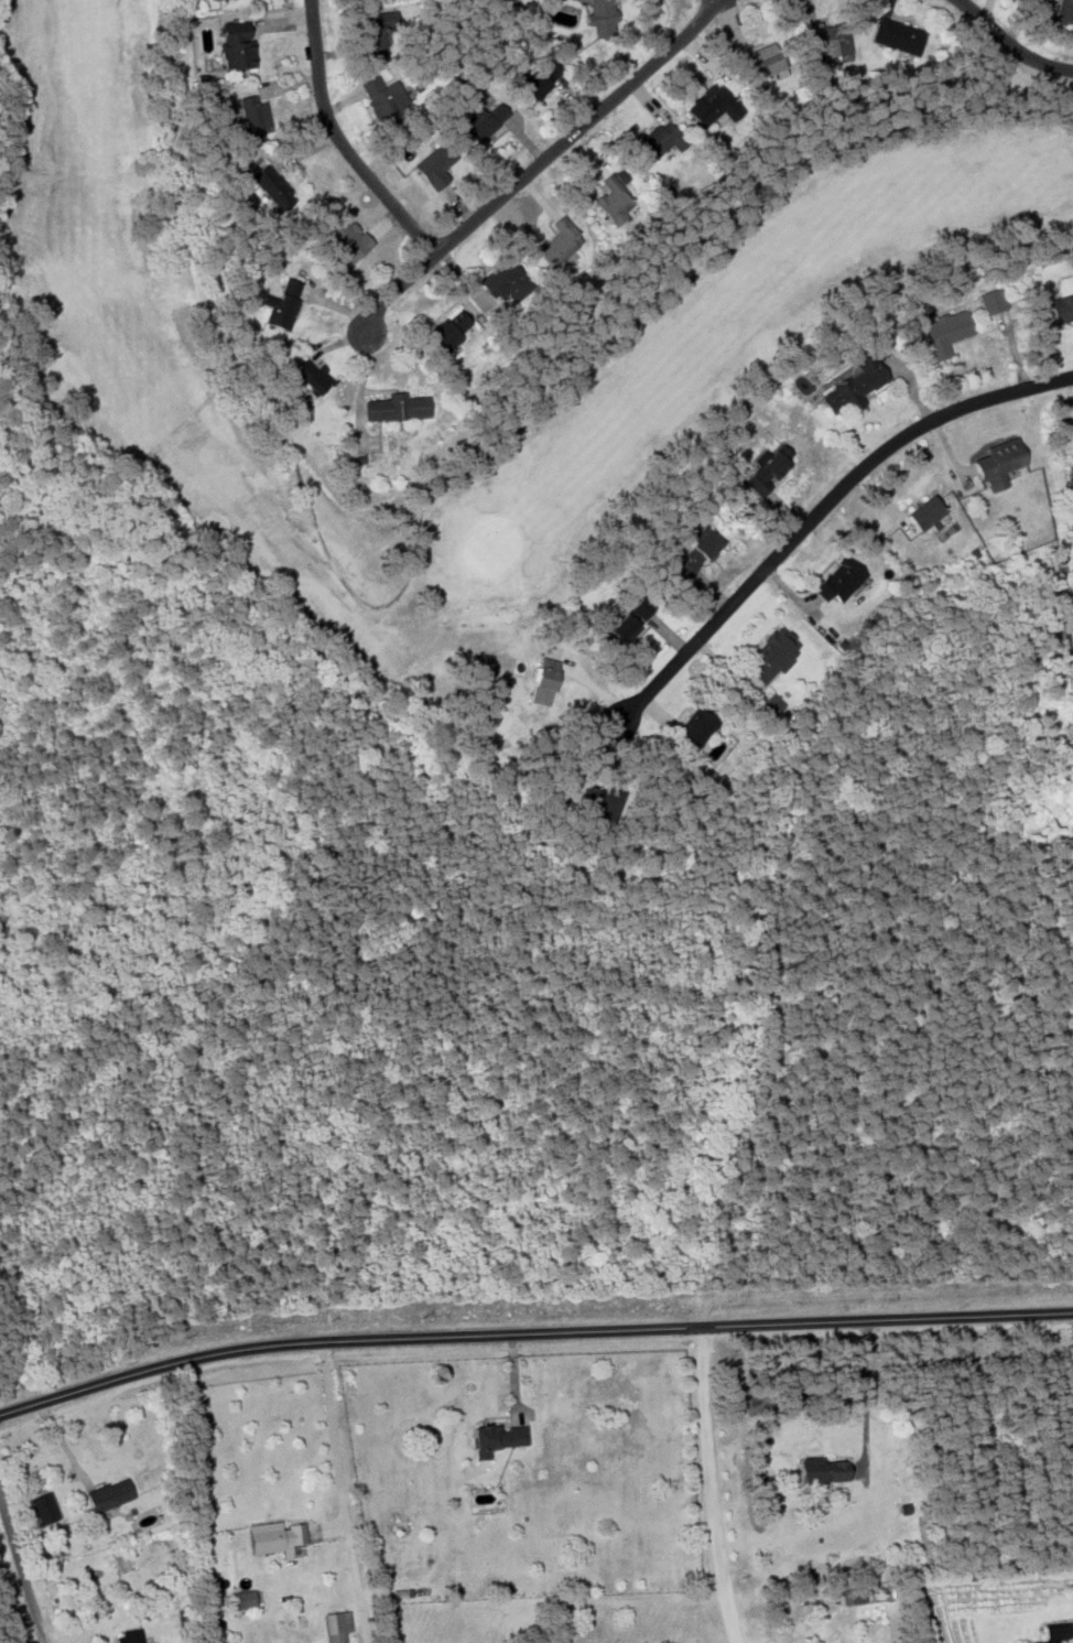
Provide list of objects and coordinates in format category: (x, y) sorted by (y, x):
building: (210, 0)
building: (572, 0)
building: (1069, 0)
building: (603, 18)
building: (375, 31)
building: (898, 35)
building: (832, 42)
road: (1010, 43)
building: (236, 45)
building: (767, 60)
building: (539, 79)
building: (384, 100)
building: (713, 105)
building: (254, 117)
building: (485, 120)
building: (658, 142)
road: (338, 143)
building: (436, 166)
road: (522, 176)
building: (271, 187)
building: (614, 199)
building: (348, 240)
building: (560, 241)
building: (505, 280)
building: (993, 300)
building: (281, 305)
building: (1062, 309)
building: (448, 331)
building: (945, 332)
building: (310, 377)
building: (855, 383)
building: (398, 407)
building: (998, 463)
building: (768, 471)
building: (1071, 474)
building: (924, 512)
road: (811, 522)
building: (697, 551)
building: (839, 580)
building: (628, 621)
building: (773, 653)
building: (544, 681)
building: (771, 705)
building: (695, 729)
building: (598, 801)
road: (531, 1331)
building: (496, 1438)
building: (822, 1471)
road: (711, 1484)
road: (339, 1490)
building: (109, 1494)
building: (44, 1507)
building: (275, 1537)
road: (21, 1571)
building: (854, 1596)
building: (245, 1599)
building: (337, 1625)
building: (1055, 1633)
building: (129, 1636)

